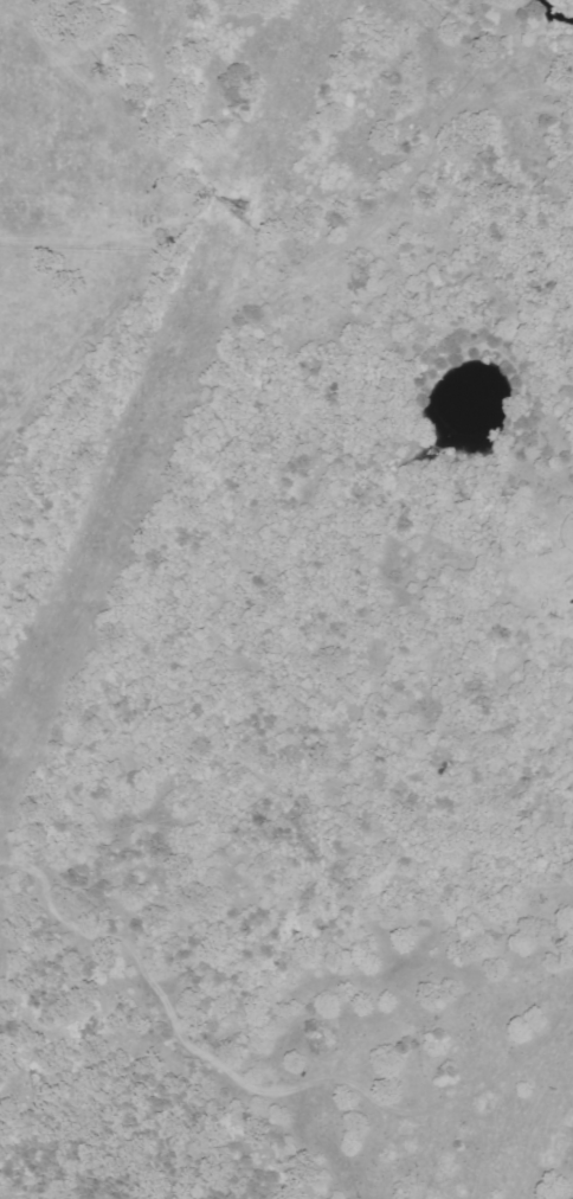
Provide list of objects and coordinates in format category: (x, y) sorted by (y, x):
power tower: (242, 205)

